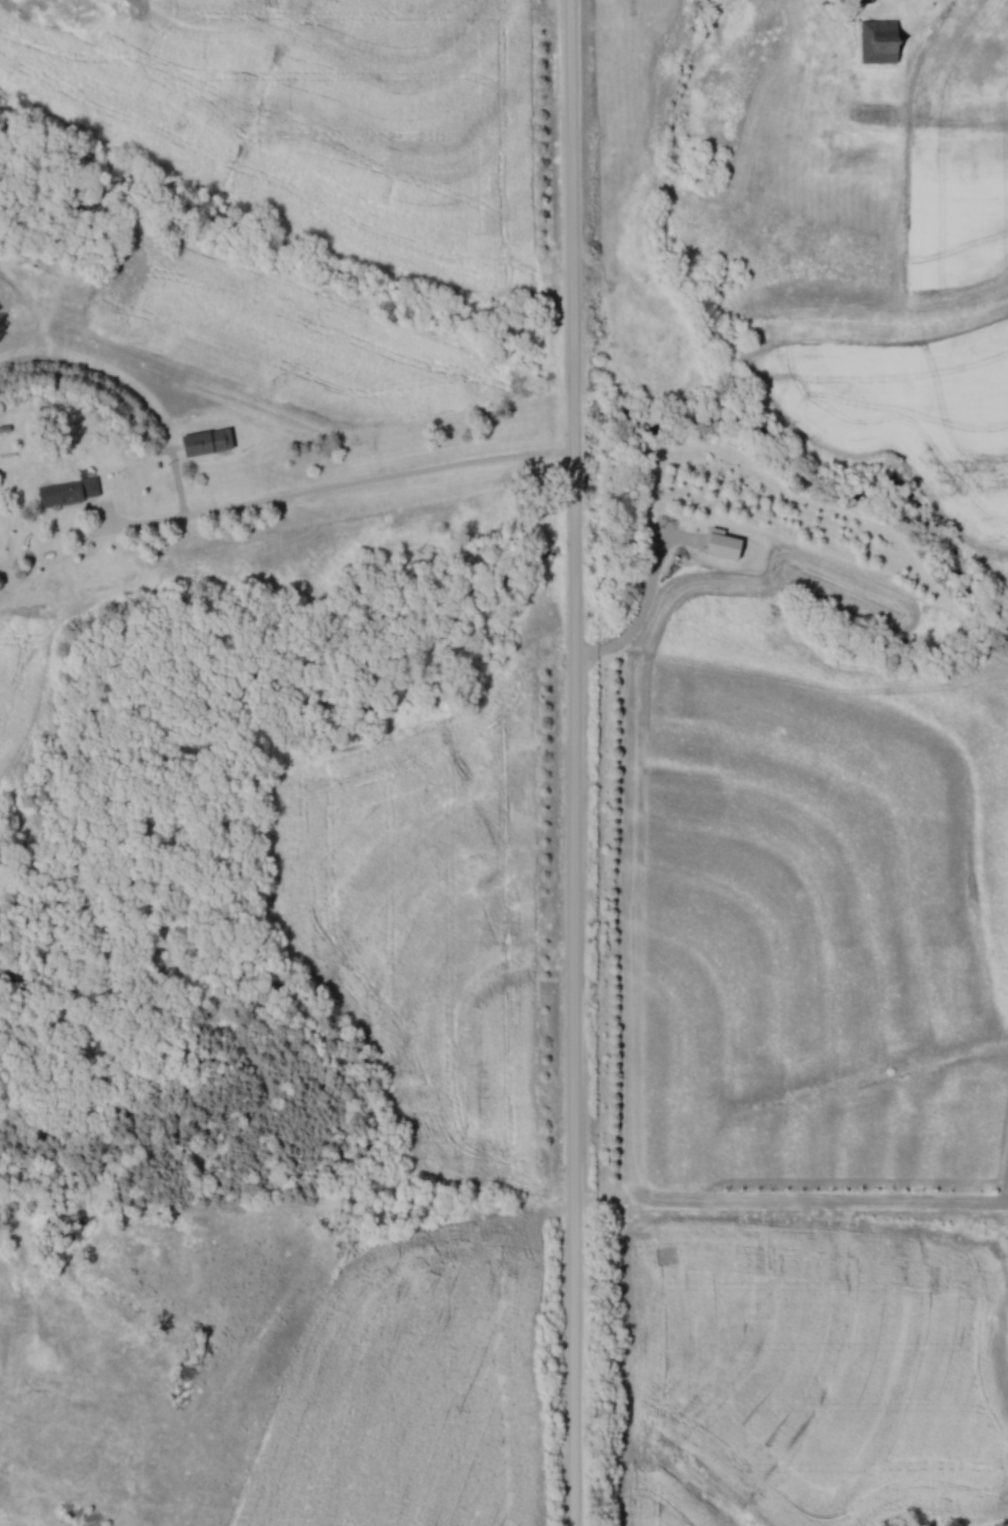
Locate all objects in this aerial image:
building: (871, 1)
building: (882, 41)
building: (210, 441)
road: (355, 487)
building: (71, 490)
road: (579, 762)

